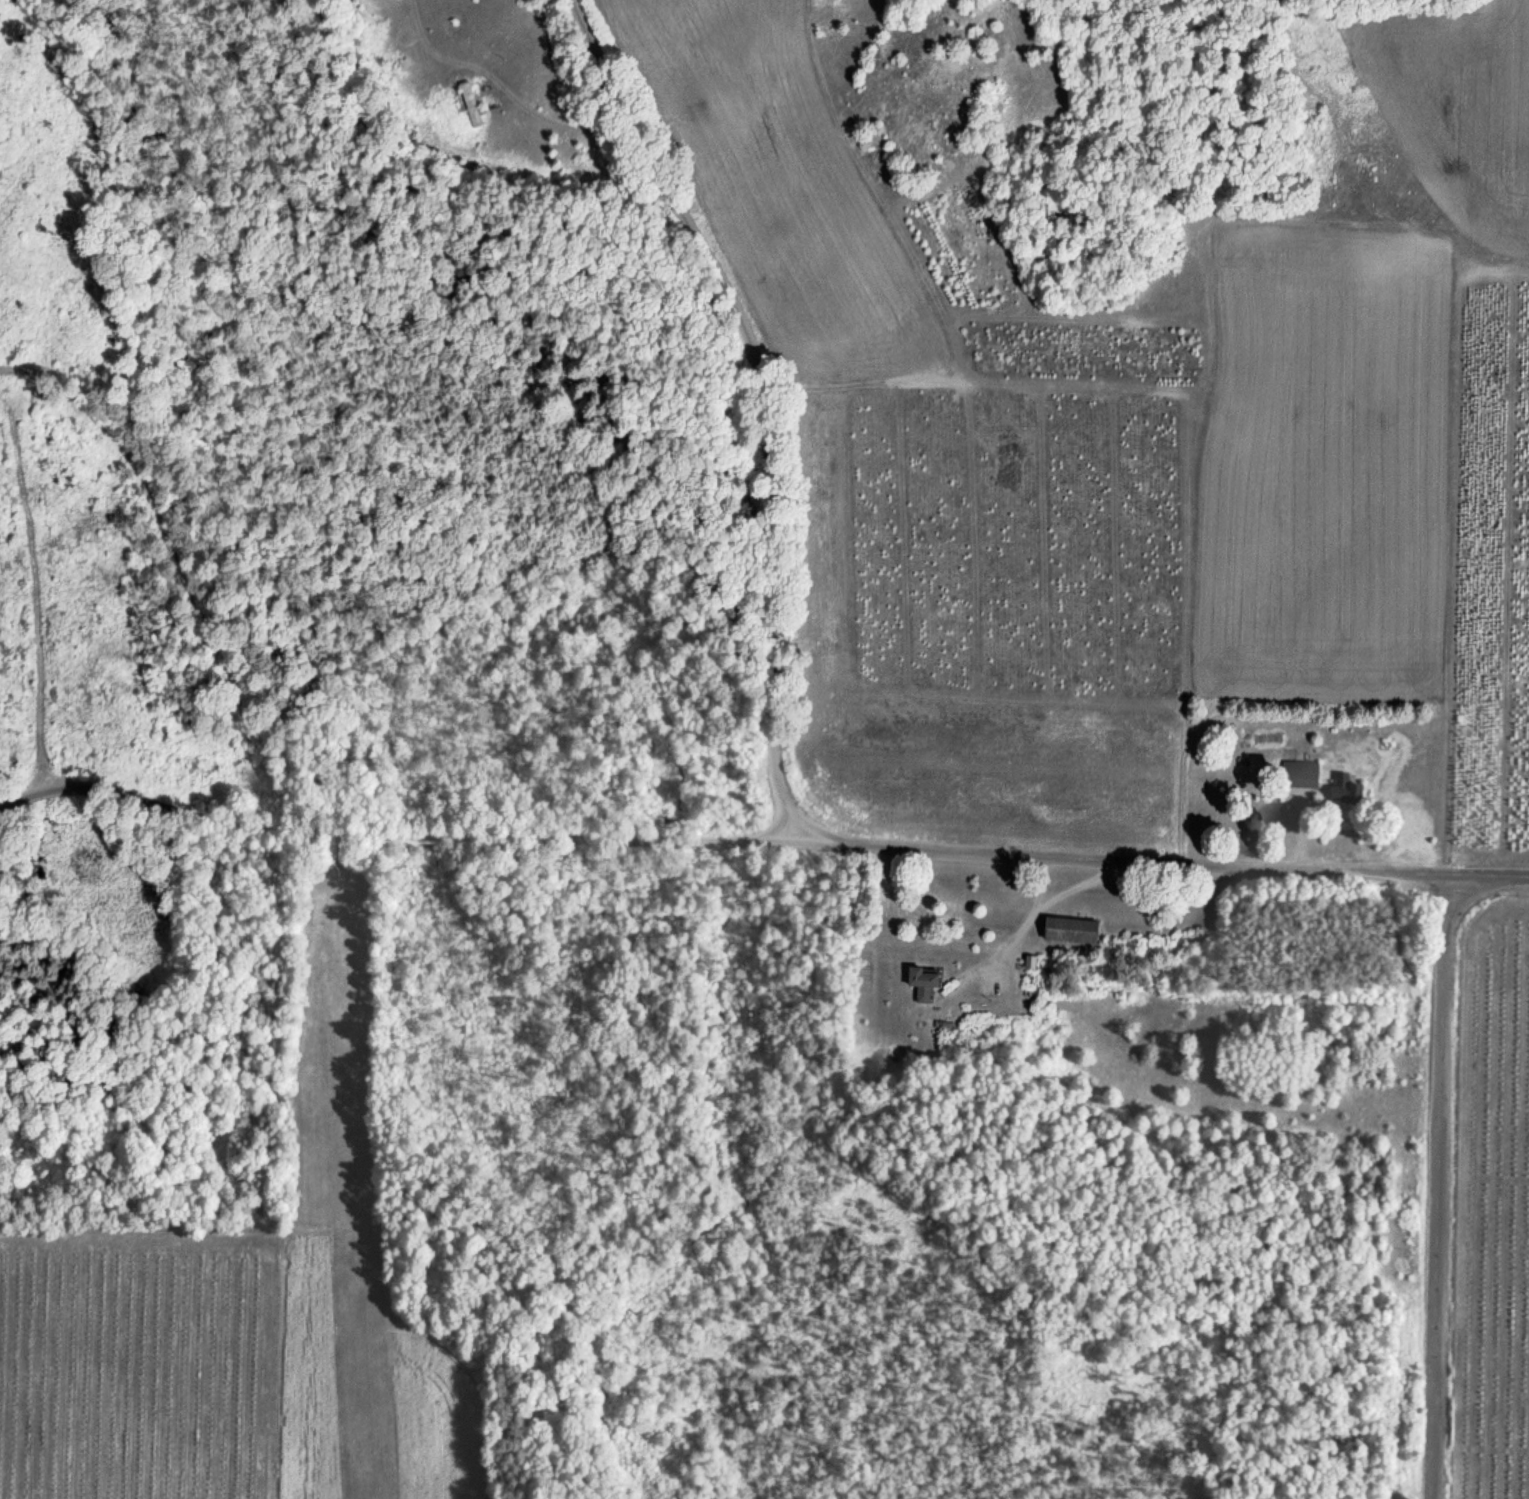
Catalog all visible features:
building: (470, 105)
road: (754, 400)
building: (1298, 775)
building: (1342, 789)
road: (719, 828)
road: (1487, 877)
building: (1067, 931)
building: (920, 984)
road: (1435, 1187)

